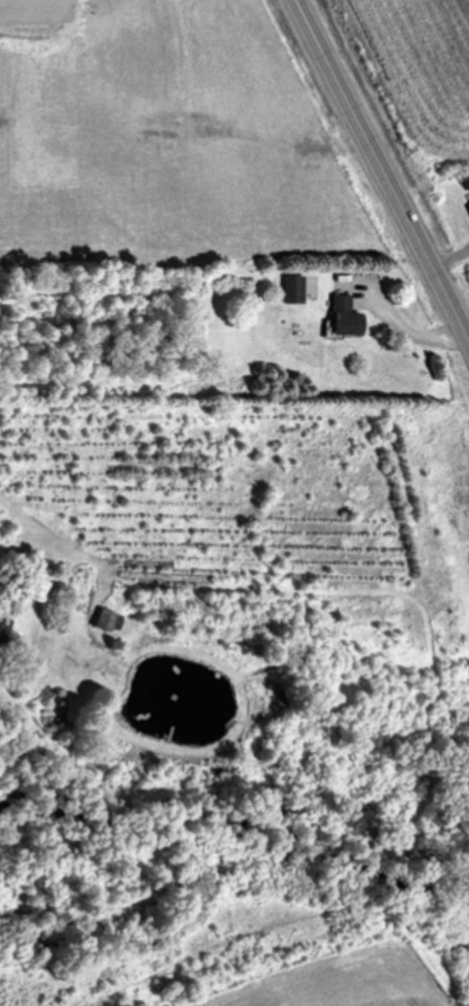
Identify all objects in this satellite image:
road: (383, 170)
building: (466, 212)
road: (451, 258)
building: (289, 291)
building: (339, 319)
road: (413, 334)
building: (33, 592)
building: (101, 622)
building: (2, 624)
airport: (353, 964)

